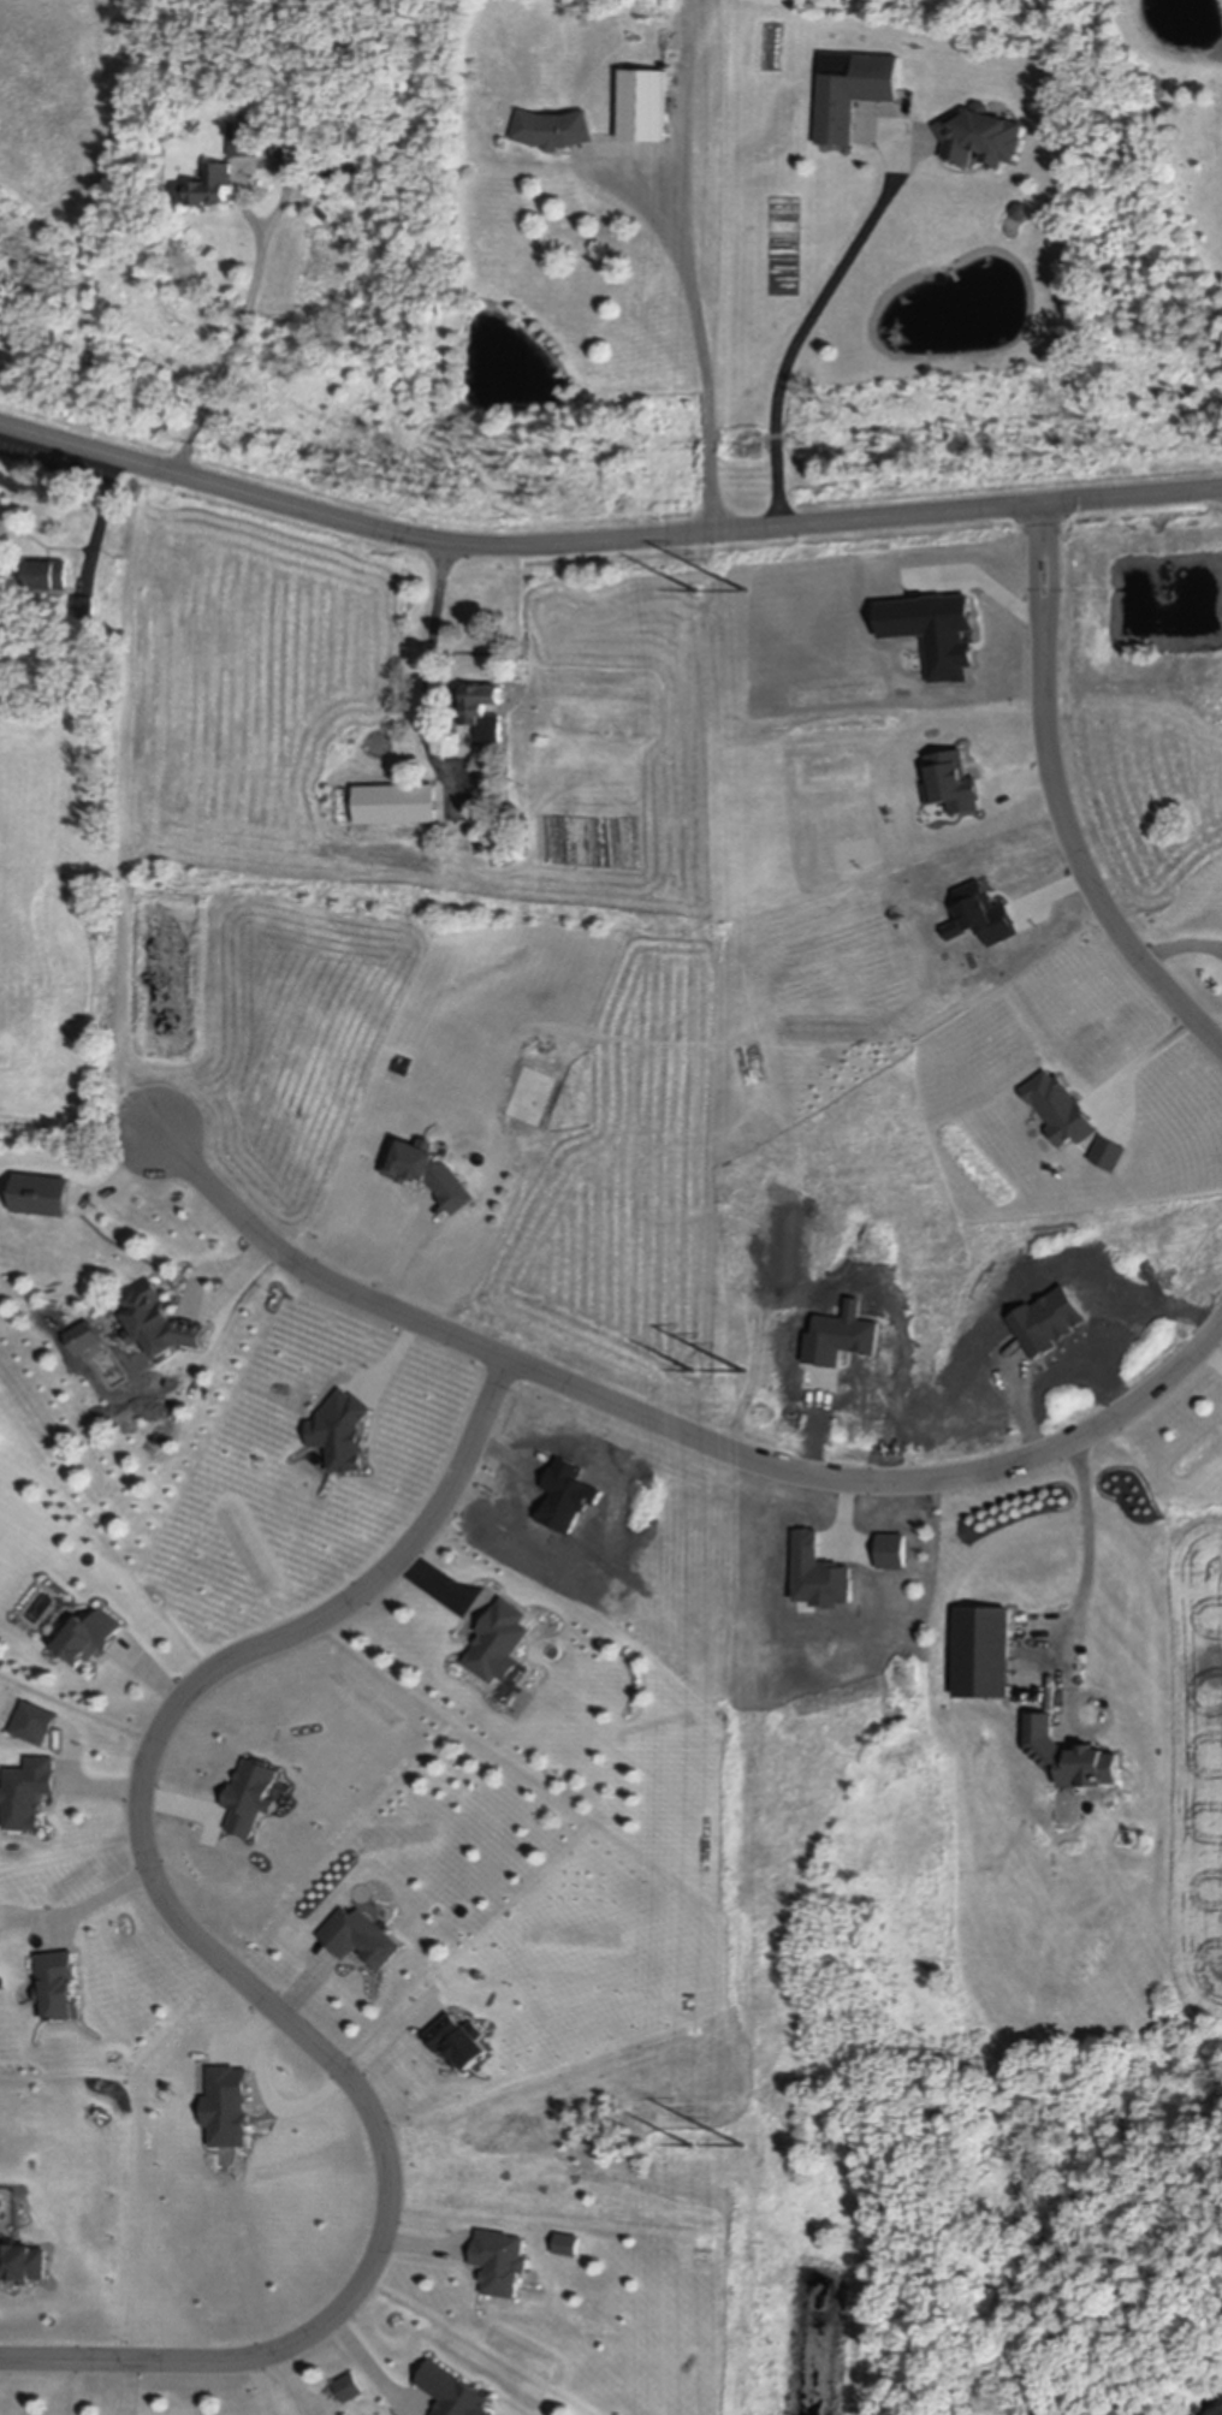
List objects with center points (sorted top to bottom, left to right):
building: (853, 88)
building: (646, 103)
building: (554, 127)
building: (981, 135)
building: (244, 137)
building: (302, 141)
building: (348, 167)
building: (208, 185)
building: (1021, 209)
building: (301, 230)
building: (278, 261)
road: (806, 321)
road: (233, 333)
road: (702, 336)
road: (100, 520)
road: (603, 541)
building: (48, 574)
power tower: (692, 586)
power tower: (745, 588)
building: (84, 606)
building: (82, 657)
road: (429, 665)
building: (484, 712)
road: (1061, 802)
building: (391, 805)
building: (499, 843)
road: (1181, 955)
road: (1140, 1058)
building: (432, 1175)
building: (100, 1323)
building: (160, 1324)
power tower: (690, 1370)
power tower: (742, 1370)
road: (678, 1432)
road: (1090, 1547)
building: (90, 1638)
building: (500, 1644)
building: (984, 1655)
building: (1070, 1758)
building: (29, 1794)
building: (361, 1940)
road: (219, 1958)
building: (60, 1988)
power tower: (742, 2143)
power tower: (689, 2144)
building: (569, 2247)
building: (502, 2265)
building: (22, 2267)
building: (351, 2390)
building: (452, 2392)

